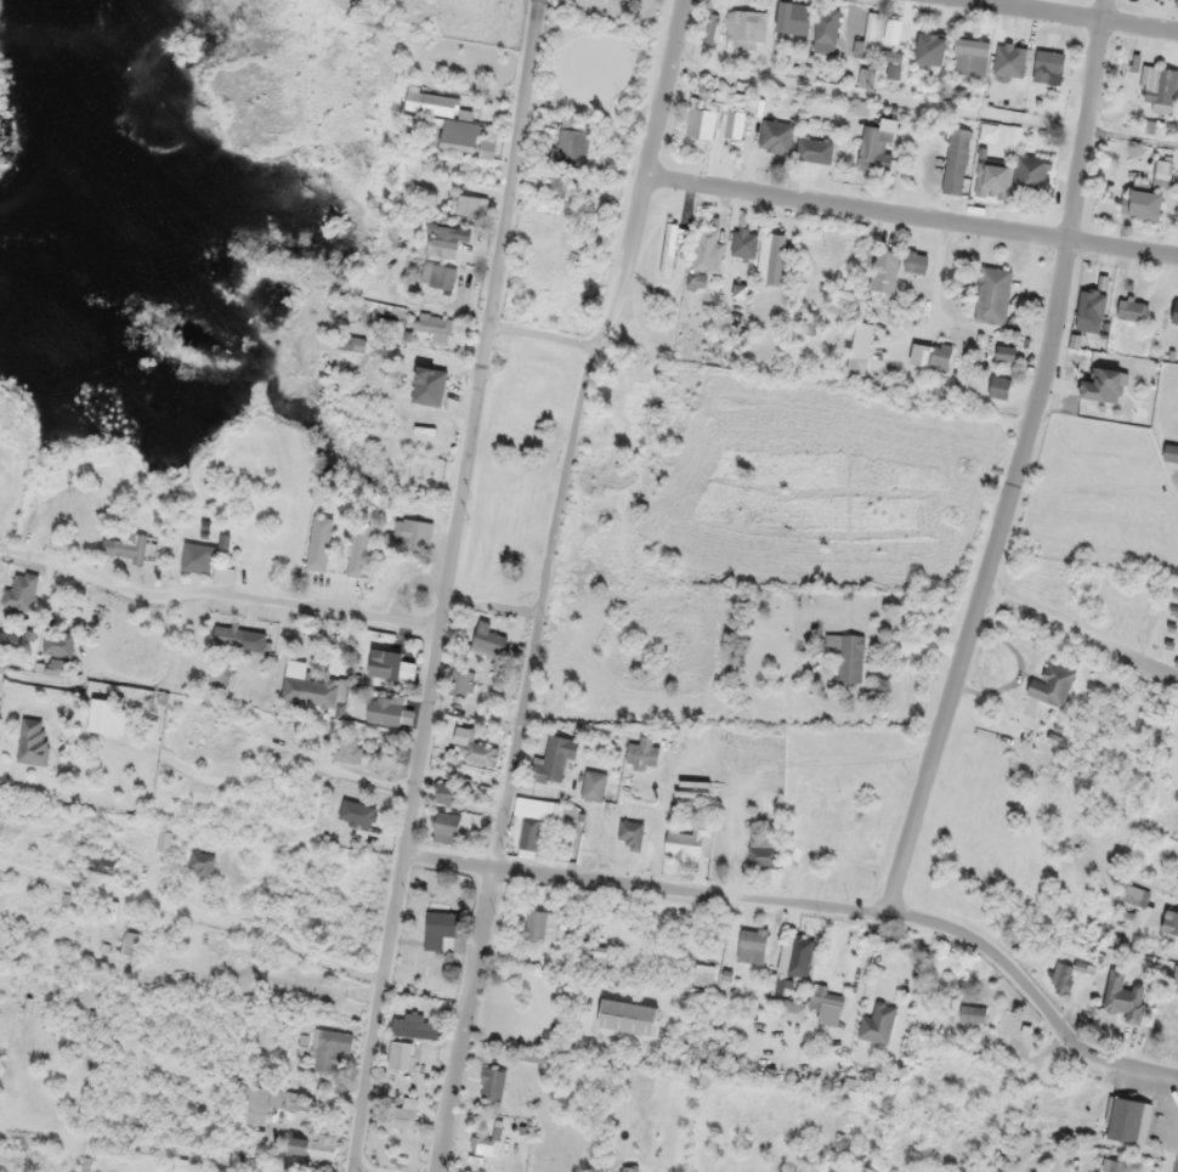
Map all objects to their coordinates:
building: (1176, 2)
building: (794, 17)
road: (1064, 18)
building: (746, 27)
building: (712, 28)
building: (826, 30)
building: (867, 39)
building: (930, 49)
building: (1012, 60)
building: (970, 61)
building: (1131, 62)
building: (1048, 68)
building: (865, 79)
building: (1159, 87)
building: (434, 104)
building: (856, 108)
building: (718, 118)
road: (1086, 123)
building: (460, 137)
building: (776, 137)
building: (489, 145)
building: (572, 147)
building: (814, 149)
building: (874, 149)
road: (330, 155)
building: (956, 162)
building: (1162, 174)
building: (1031, 175)
building: (992, 180)
building: (553, 185)
building: (1140, 203)
building: (468, 206)
road: (279, 209)
building: (546, 209)
road: (911, 219)
building: (444, 240)
road: (375, 245)
building: (743, 248)
building: (707, 251)
building: (770, 259)
building: (914, 262)
building: (438, 277)
building: (883, 278)
building: (697, 281)
building: (992, 295)
building: (843, 301)
building: (1091, 308)
building: (1131, 308)
building: (1171, 315)
building: (811, 323)
building: (434, 324)
road: (543, 334)
building: (352, 344)
building: (719, 350)
building: (1004, 353)
building: (929, 355)
road: (429, 357)
building: (1103, 385)
building: (999, 387)
building: (421, 391)
building: (1171, 453)
building: (410, 534)
building: (319, 543)
building: (124, 549)
building: (357, 551)
building: (197, 557)
road: (543, 581)
road: (444, 585)
road: (985, 587)
building: (21, 590)
road: (216, 593)
road: (491, 605)
road: (1081, 629)
building: (239, 638)
building: (488, 639)
building: (58, 642)
building: (846, 656)
building: (387, 666)
building: (58, 667)
building: (220, 673)
building: (461, 683)
building: (1052, 685)
building: (310, 687)
building: (389, 712)
building: (102, 717)
building: (34, 742)
building: (475, 747)
building: (347, 749)
building: (642, 753)
building: (555, 759)
building: (594, 786)
building: (448, 792)
building: (357, 814)
building: (531, 823)
building: (446, 827)
building: (629, 834)
building: (164, 840)
building: (686, 842)
building: (763, 854)
building: (102, 864)
building: (200, 866)
building: (1177, 881)
building: (1133, 895)
road: (197, 911)
road: (816, 918)
building: (1169, 923)
building: (540, 924)
building: (440, 929)
building: (130, 944)
building: (752, 945)
building: (600, 955)
building: (797, 955)
building: (704, 975)
building: (1063, 979)
building: (1174, 980)
building: (885, 983)
building: (1123, 997)
building: (827, 1003)
building: (972, 1014)
building: (628, 1017)
building: (877, 1024)
building: (419, 1026)
building: (329, 1049)
building: (402, 1055)
building: (493, 1085)
building: (272, 1099)
building: (406, 1120)
building: (1128, 1120)
building: (482, 1145)
building: (312, 1146)
building: (1114, 1166)
road: (4, 1167)
building: (629, 1168)
building: (834, 1171)

